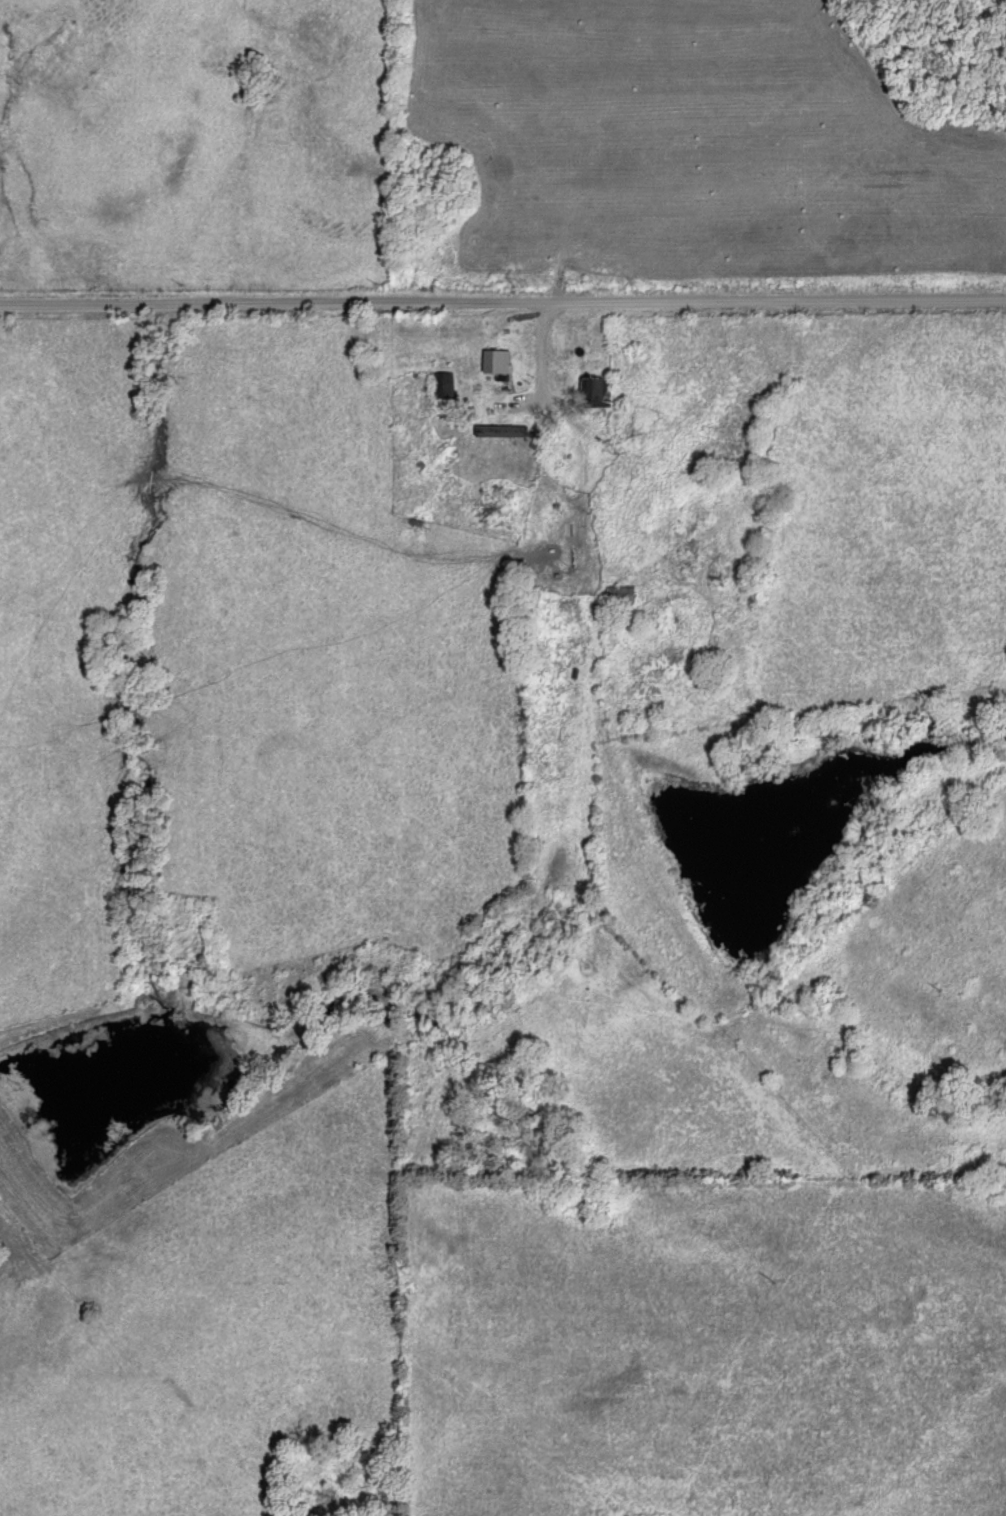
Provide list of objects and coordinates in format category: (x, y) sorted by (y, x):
road: (503, 299)
building: (495, 361)
building: (441, 385)
building: (594, 390)
building: (496, 415)

